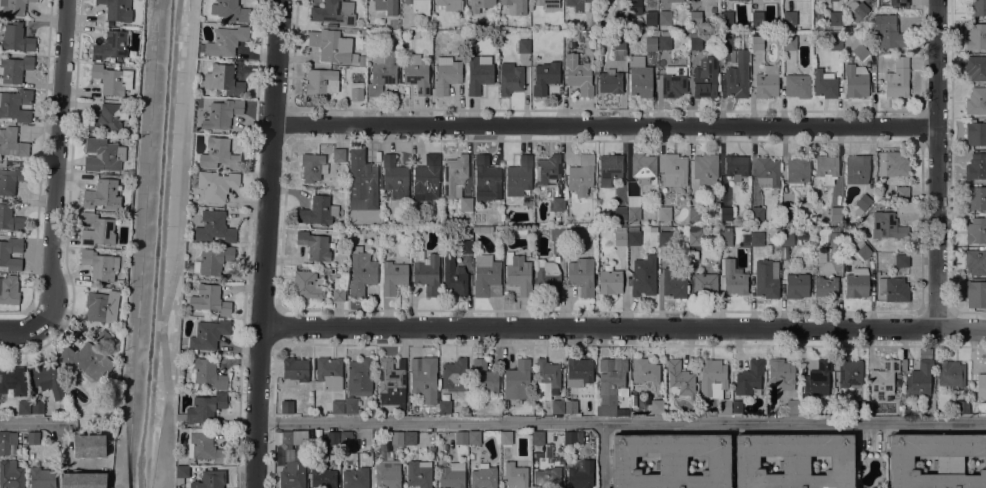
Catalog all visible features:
building: (675, 0)
building: (737, 0)
building: (755, 0)
building: (831, 0)
building: (901, 3)
building: (449, 4)
building: (547, 4)
building: (576, 4)
building: (479, 5)
building: (386, 6)
building: (419, 6)
building: (515, 6)
building: (13, 7)
building: (635, 7)
building: (977, 7)
building: (116, 9)
building: (230, 10)
building: (334, 12)
building: (856, 13)
building: (619, 17)
building: (694, 17)
building: (789, 17)
building: (650, 18)
building: (664, 18)
building: (725, 18)
building: (757, 18)
building: (833, 18)
building: (461, 20)
building: (331, 25)
building: (887, 31)
building: (976, 37)
building: (15, 38)
building: (664, 40)
building: (226, 41)
building: (695, 41)
building: (725, 41)
building: (756, 41)
building: (619, 42)
building: (789, 43)
building: (835, 43)
building: (650, 44)
building: (111, 45)
building: (332, 46)
building: (523, 46)
building: (858, 49)
building: (472, 50)
building: (361, 54)
building: (361, 63)
building: (14, 68)
building: (975, 68)
building: (382, 72)
building: (478, 73)
building: (416, 74)
building: (446, 74)
building: (577, 74)
building: (737, 76)
building: (544, 77)
building: (639, 77)
building: (510, 78)
building: (705, 78)
building: (897, 78)
building: (112, 79)
building: (223, 80)
building: (321, 81)
building: (673, 81)
building: (856, 81)
building: (609, 82)
building: (824, 84)
building: (765, 85)
building: (797, 86)
building: (356, 91)
building: (976, 101)
building: (16, 105)
building: (221, 114)
building: (107, 119)
road: (604, 125)
building: (976, 133)
building: (12, 143)
building: (103, 155)
building: (218, 155)
building: (338, 155)
road: (58, 161)
building: (892, 163)
road: (938, 163)
building: (735, 166)
building: (976, 166)
building: (312, 167)
building: (643, 167)
building: (547, 168)
building: (609, 169)
building: (705, 169)
building: (797, 169)
building: (826, 169)
building: (857, 169)
building: (674, 170)
building: (130, 172)
building: (767, 172)
building: (581, 174)
building: (454, 175)
building: (518, 176)
building: (394, 177)
building: (426, 178)
building: (11, 179)
building: (486, 179)
building: (361, 181)
building: (215, 185)
building: (103, 193)
building: (901, 193)
building: (975, 197)
building: (633, 200)
building: (466, 204)
building: (558, 204)
building: (862, 204)
building: (318, 211)
building: (633, 213)
building: (664, 213)
building: (695, 213)
building: (725, 213)
building: (756, 213)
building: (835, 213)
building: (620, 214)
building: (9, 217)
building: (887, 226)
building: (213, 227)
building: (482, 228)
building: (96, 229)
building: (777, 231)
building: (976, 231)
building: (578, 234)
building: (633, 236)
building: (695, 236)
building: (619, 237)
building: (725, 237)
building: (556, 238)
building: (664, 238)
building: (787, 238)
building: (835, 238)
building: (756, 239)
road: (264, 243)
road: (177, 245)
building: (314, 245)
building: (466, 246)
building: (861, 247)
building: (4, 255)
building: (213, 260)
building: (901, 260)
building: (976, 261)
building: (100, 265)
building: (426, 272)
building: (360, 273)
building: (518, 273)
building: (581, 275)
building: (643, 275)
building: (733, 276)
building: (392, 277)
building: (454, 277)
building: (486, 277)
building: (547, 278)
building: (766, 278)
building: (609, 281)
building: (307, 284)
building: (857, 284)
building: (673, 285)
building: (704, 285)
building: (796, 286)
building: (825, 287)
building: (893, 288)
building: (9, 290)
building: (337, 294)
building: (976, 294)
building: (209, 299)
building: (102, 306)
road: (156, 326)
road: (22, 327)
road: (623, 327)
building: (207, 335)
building: (105, 340)
building: (86, 360)
building: (295, 368)
building: (644, 371)
building: (578, 372)
building: (207, 373)
building: (781, 373)
building: (849, 373)
building: (950, 373)
building: (327, 374)
building: (454, 375)
building: (483, 376)
building: (548, 376)
building: (359, 377)
building: (712, 377)
building: (47, 378)
building: (679, 378)
building: (749, 378)
building: (817, 378)
building: (883, 379)
building: (919, 379)
building: (12, 380)
building: (423, 380)
building: (517, 380)
building: (391, 382)
building: (611, 384)
building: (981, 386)
building: (635, 394)
building: (350, 405)
building: (37, 406)
building: (337, 406)
building: (444, 406)
building: (557, 406)
building: (657, 406)
building: (724, 406)
building: (792, 406)
building: (857, 406)
building: (962, 406)
building: (23, 407)
building: (287, 407)
building: (570, 407)
building: (737, 407)
building: (202, 408)
road: (39, 421)
road: (620, 421)
building: (366, 433)
building: (397, 437)
building: (409, 437)
building: (473, 437)
building: (505, 437)
building: (538, 437)
building: (33, 438)
building: (285, 438)
building: (332, 438)
building: (461, 438)
building: (573, 438)
building: (7, 440)
building: (345, 442)
building: (89, 445)
building: (204, 446)
road: (601, 455)
road: (117, 460)
building: (670, 460)
building: (793, 460)
building: (949, 462)
building: (294, 463)
building: (182, 470)
building: (419, 473)
building: (354, 474)
building: (387, 474)
building: (579, 474)
building: (10, 475)
building: (452, 475)
building: (515, 475)
building: (483, 477)
building: (41, 478)
building: (322, 478)
building: (547, 478)
building: (212, 479)
building: (82, 480)

